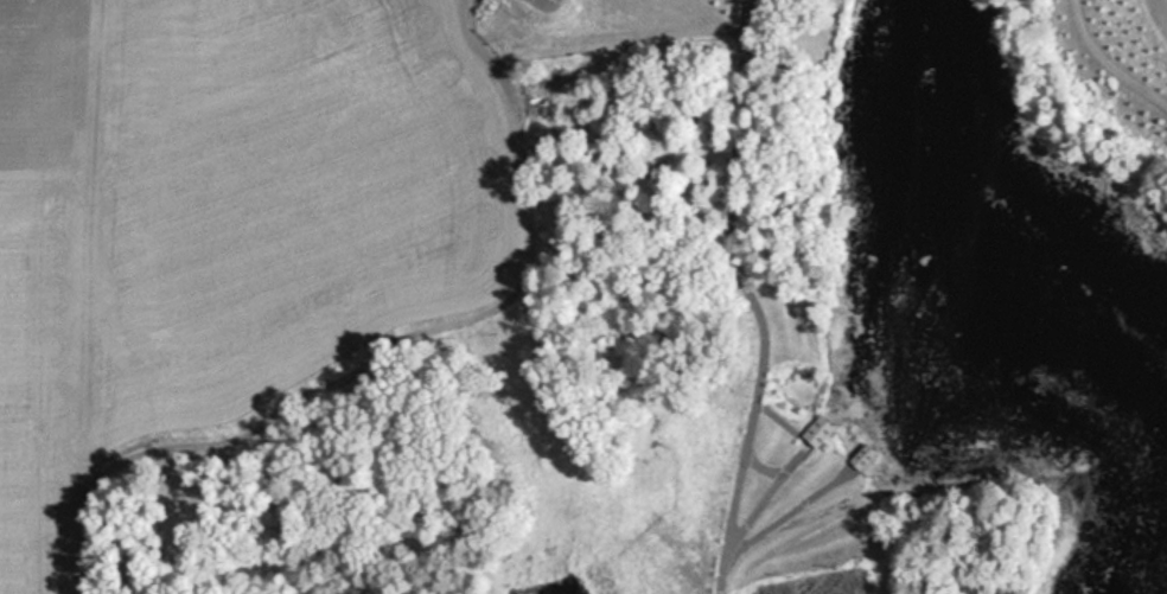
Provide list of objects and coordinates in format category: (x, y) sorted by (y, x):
building: (493, 11)
building: (815, 427)

